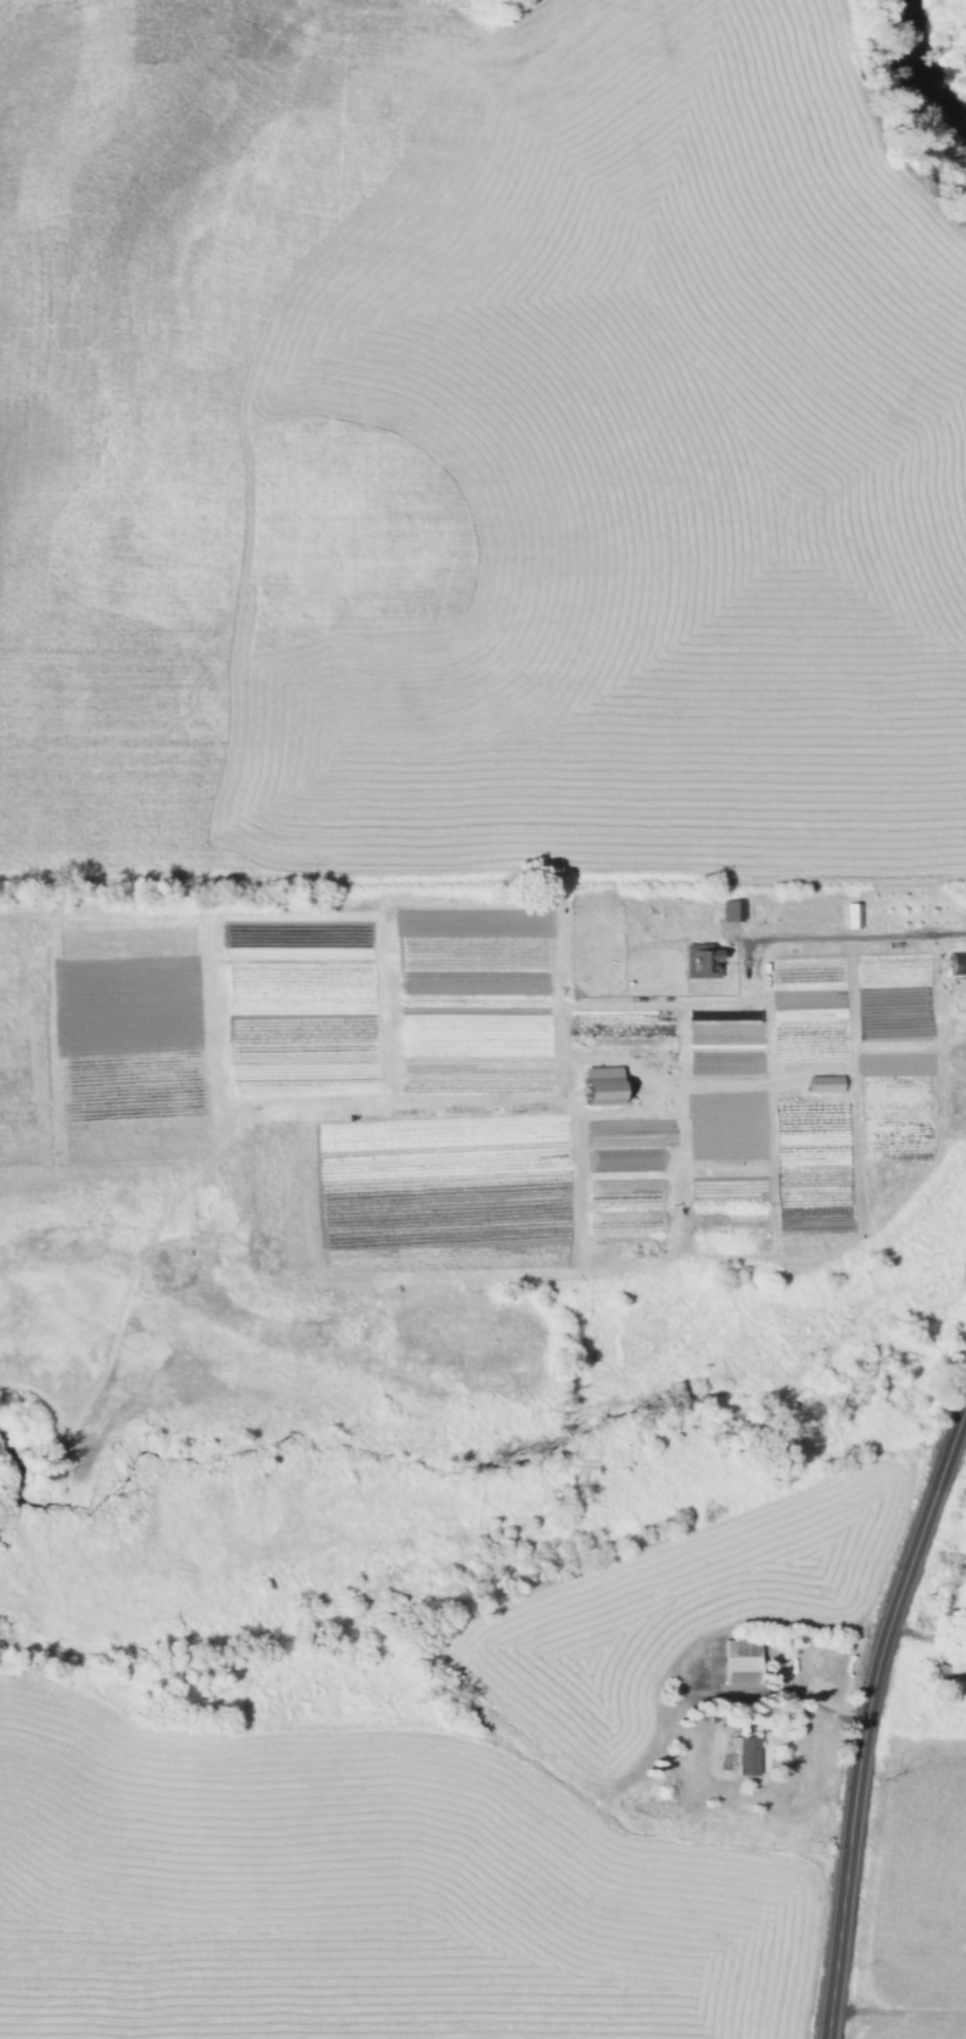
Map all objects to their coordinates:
river: (949, 38)
crop: (148, 351)
crop: (601, 479)
building: (730, 908)
building: (851, 914)
road: (839, 933)
building: (699, 959)
building: (955, 959)
road: (938, 969)
crop: (88, 1062)
building: (822, 1082)
building: (600, 1084)
road: (502, 1090)
crop: (556, 1101)
building: (623, 1159)
building: (624, 1189)
building: (626, 1220)
road: (82, 1259)
road: (95, 1407)
road: (964, 1412)
road: (928, 1632)
building: (743, 1661)
building: (946, 1676)
road: (820, 1711)
road: (866, 1722)
building: (792, 1723)
building: (746, 1753)
crop: (920, 1884)
road: (898, 2010)
crop: (912, 2030)

